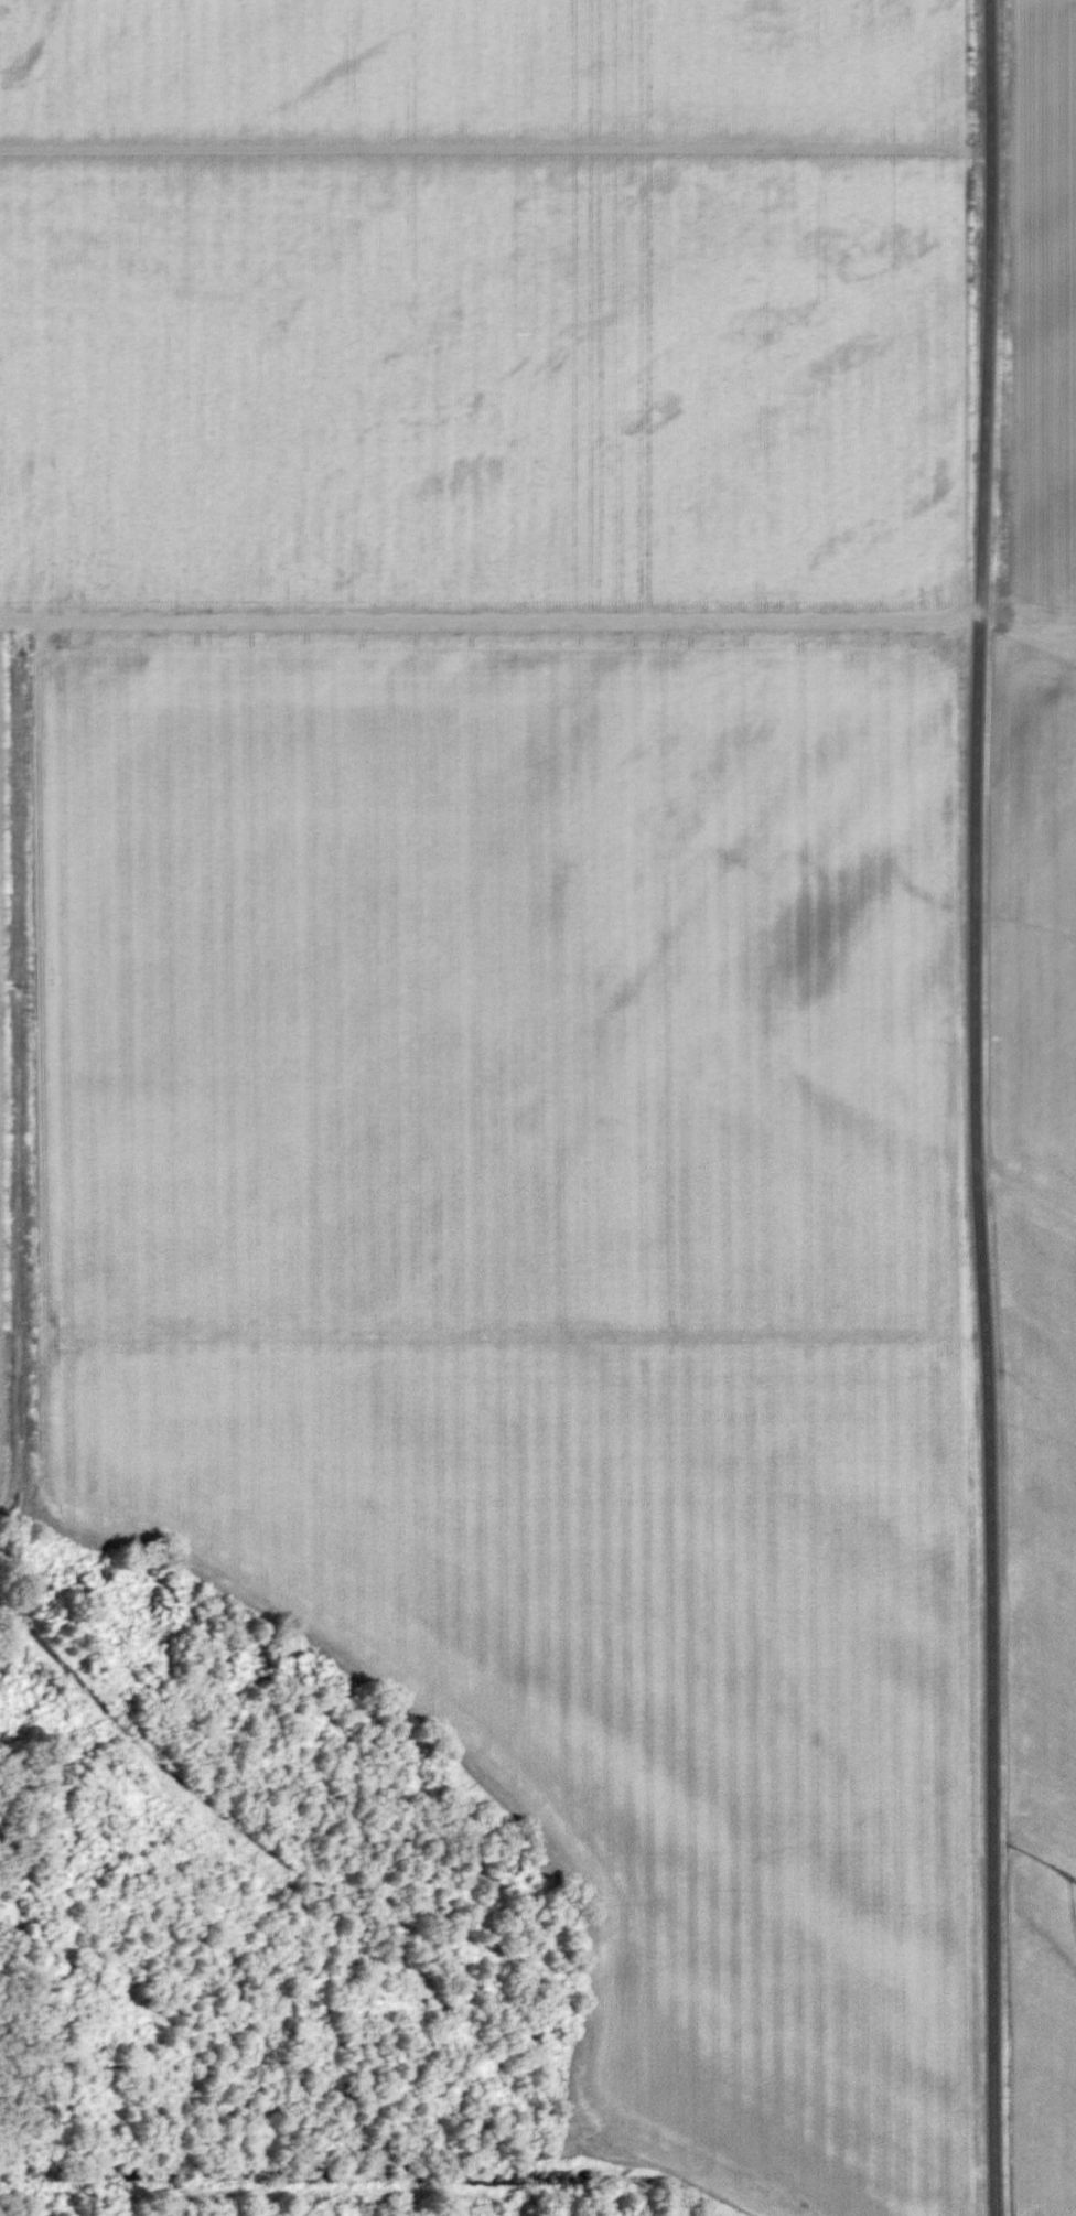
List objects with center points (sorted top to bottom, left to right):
road: (976, 1108)

